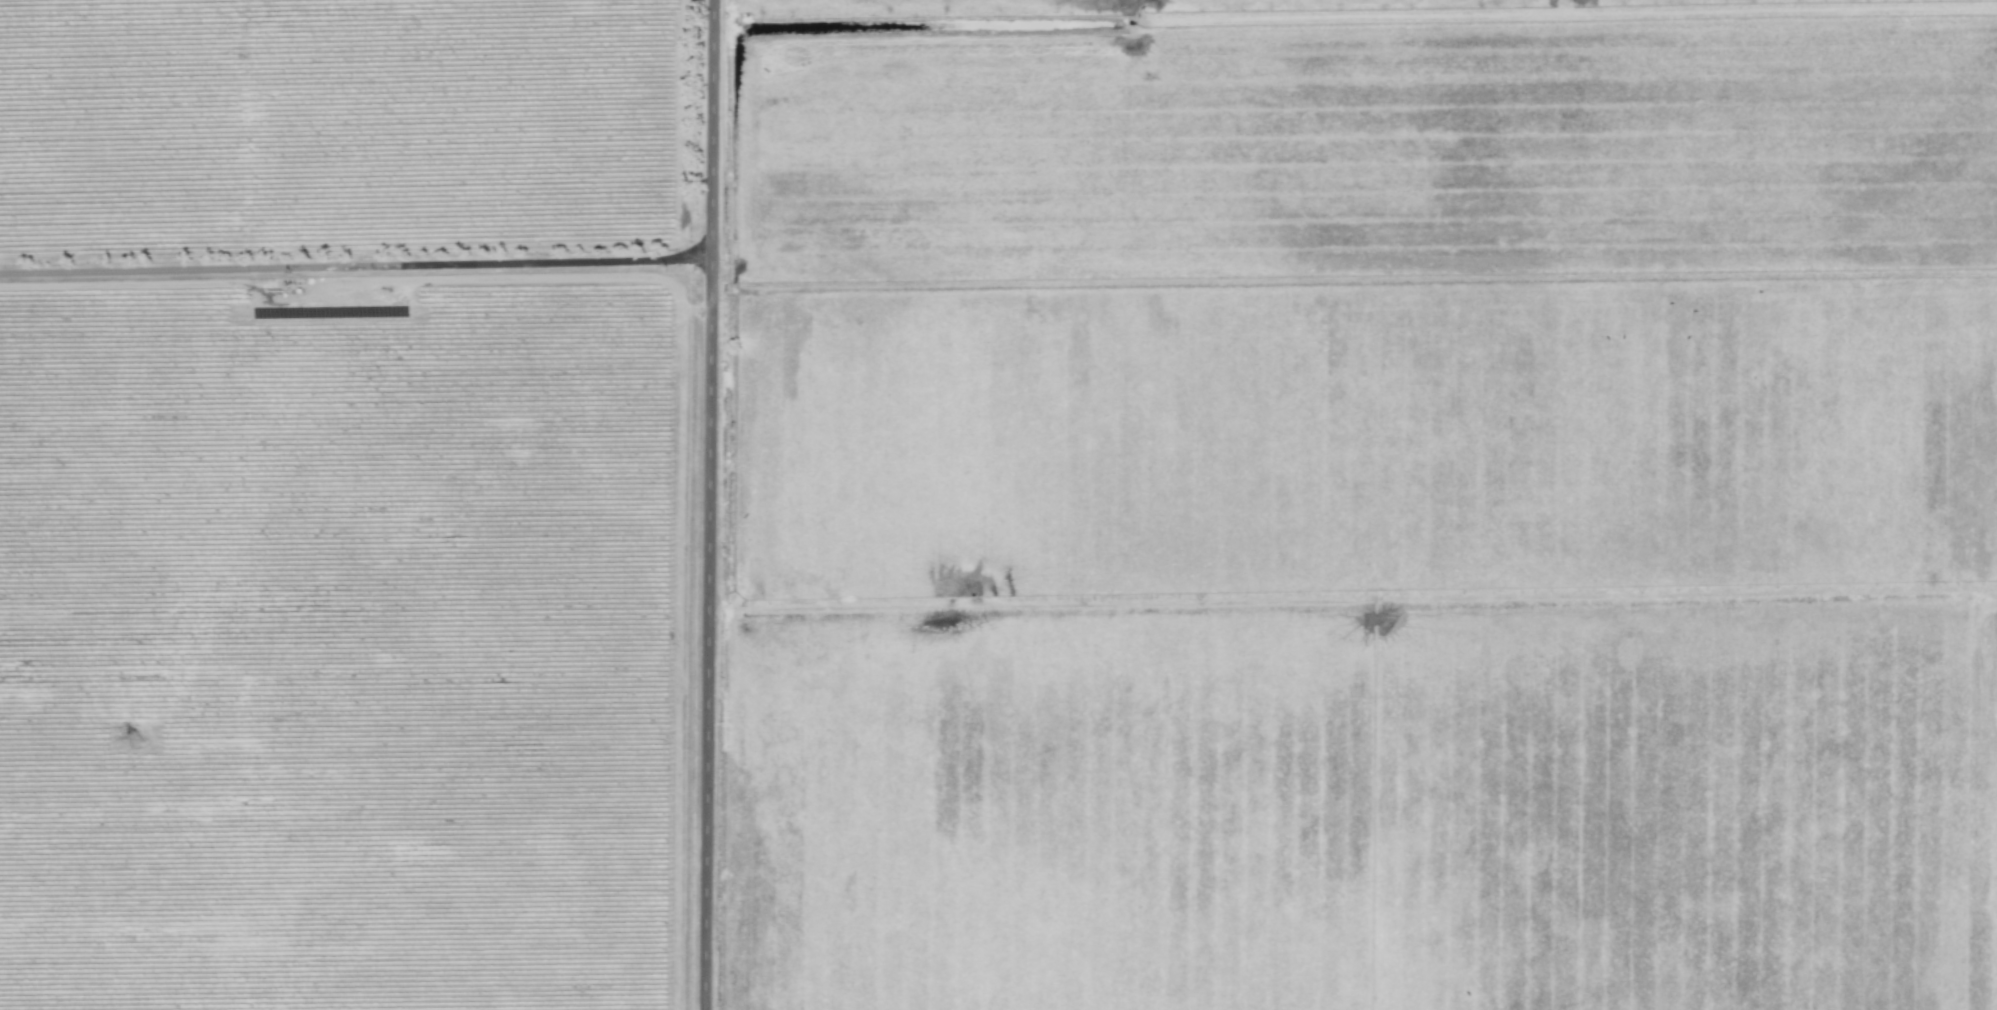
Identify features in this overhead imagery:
road: (356, 259)
road: (710, 504)
power tower: (129, 738)

